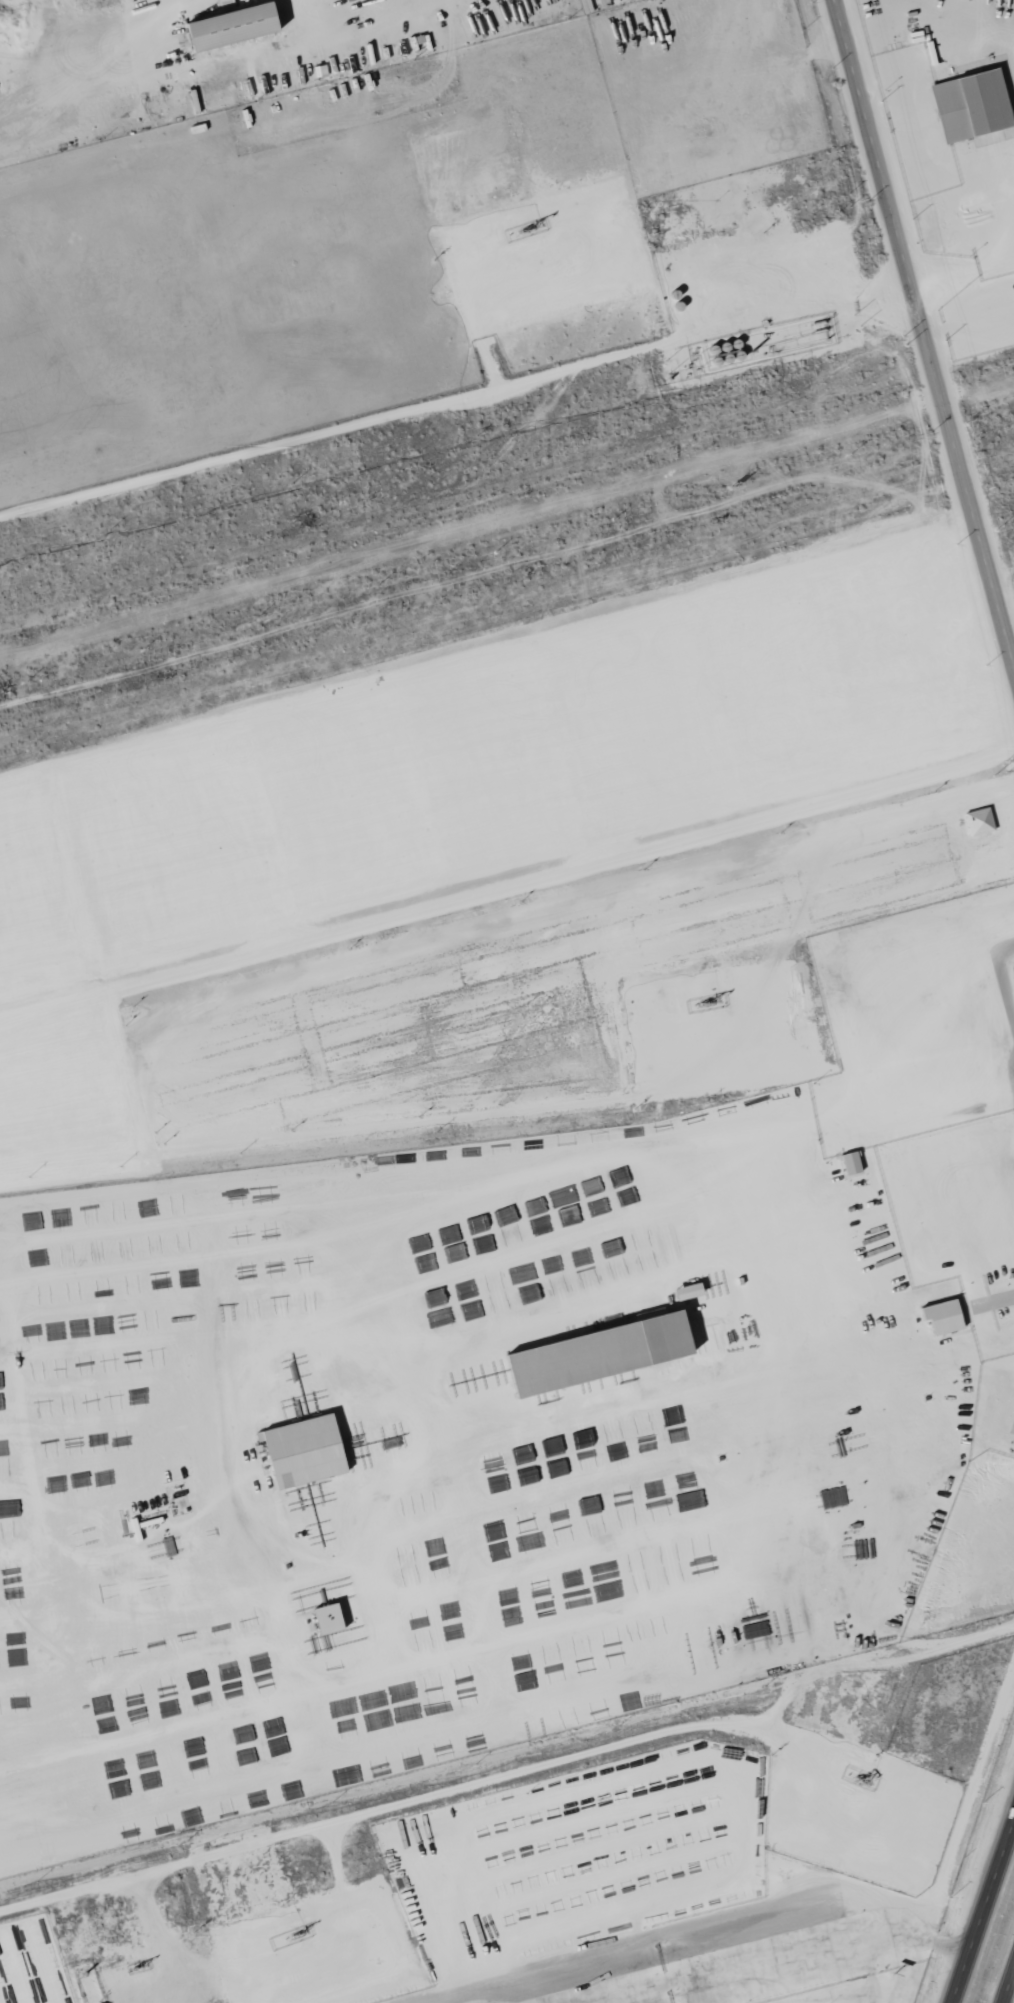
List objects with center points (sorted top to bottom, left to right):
building: (234, 27)
building: (972, 106)
road: (964, 269)
road: (925, 327)
road: (456, 397)
building: (980, 821)
road: (1002, 982)
petroleum well: (701, 993)
building: (852, 1162)
building: (689, 1291)
building: (944, 1316)
building: (601, 1353)
building: (305, 1450)
building: (329, 1618)
road: (991, 1894)
road: (1012, 1969)
road: (961, 1982)
road: (1005, 1989)

